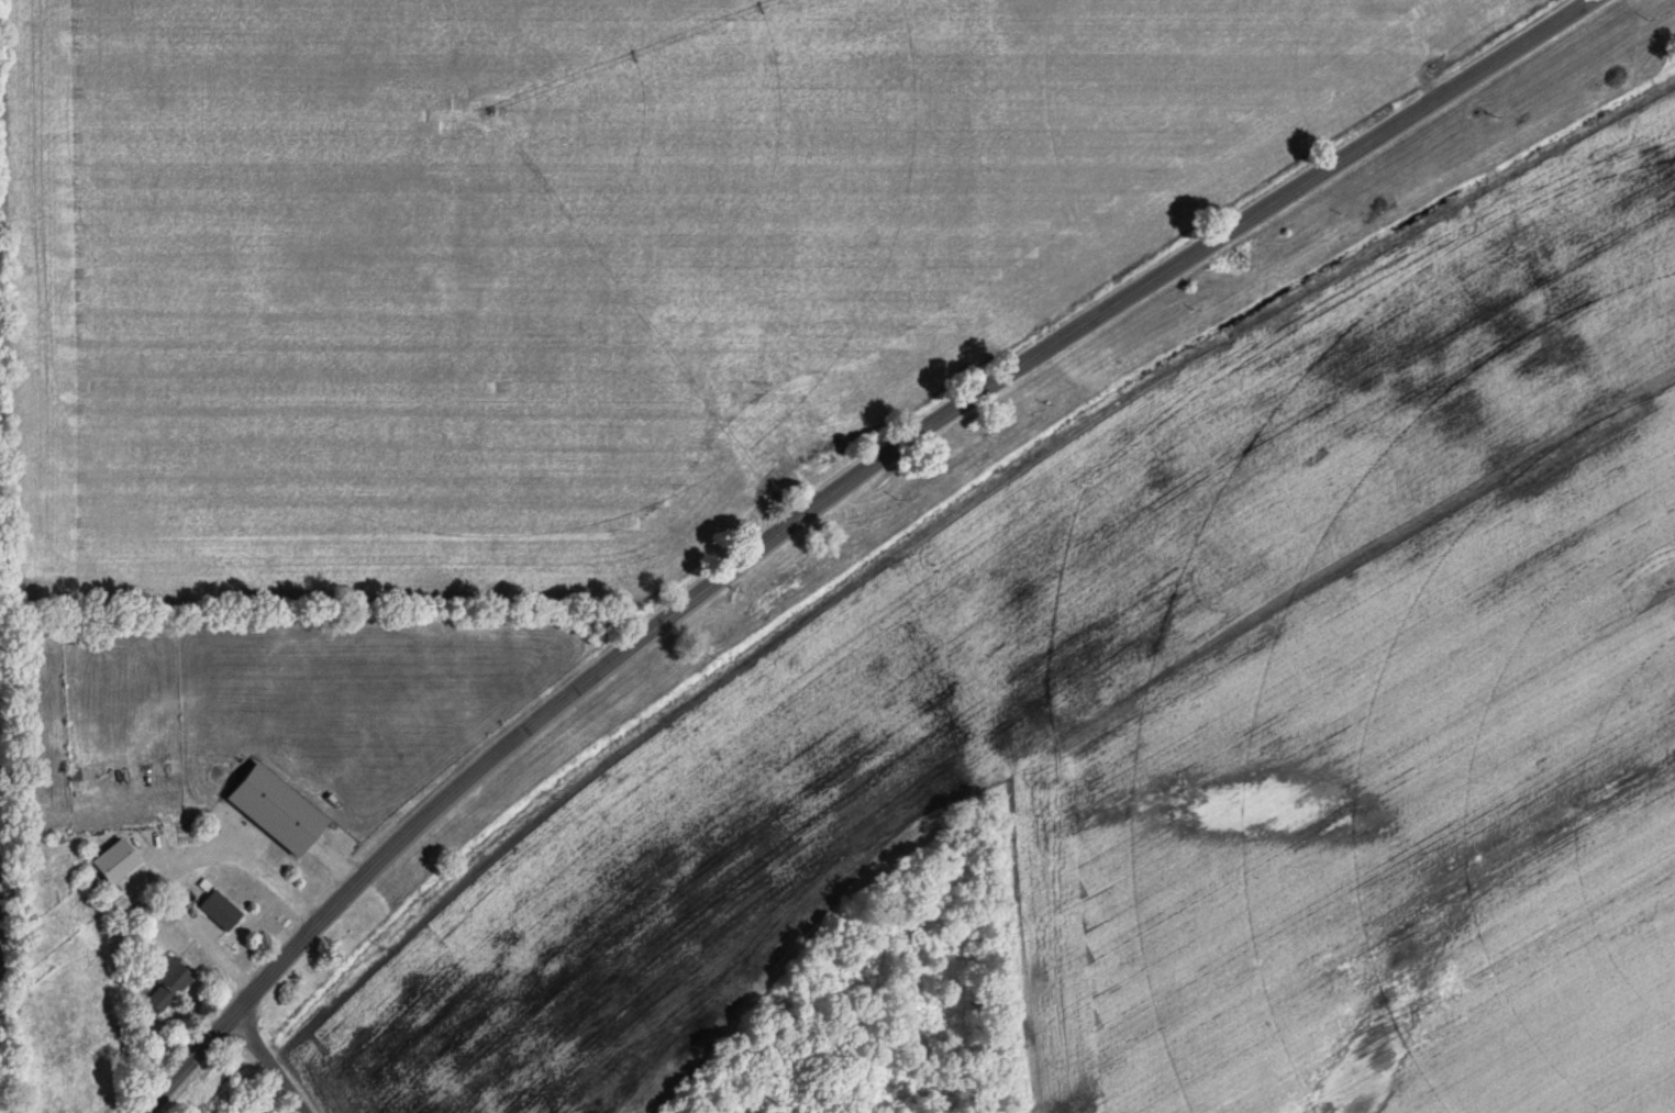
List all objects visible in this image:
building: (787, 389)
road: (840, 504)
building: (112, 872)
building: (218, 912)
building: (165, 984)
road: (268, 1065)

